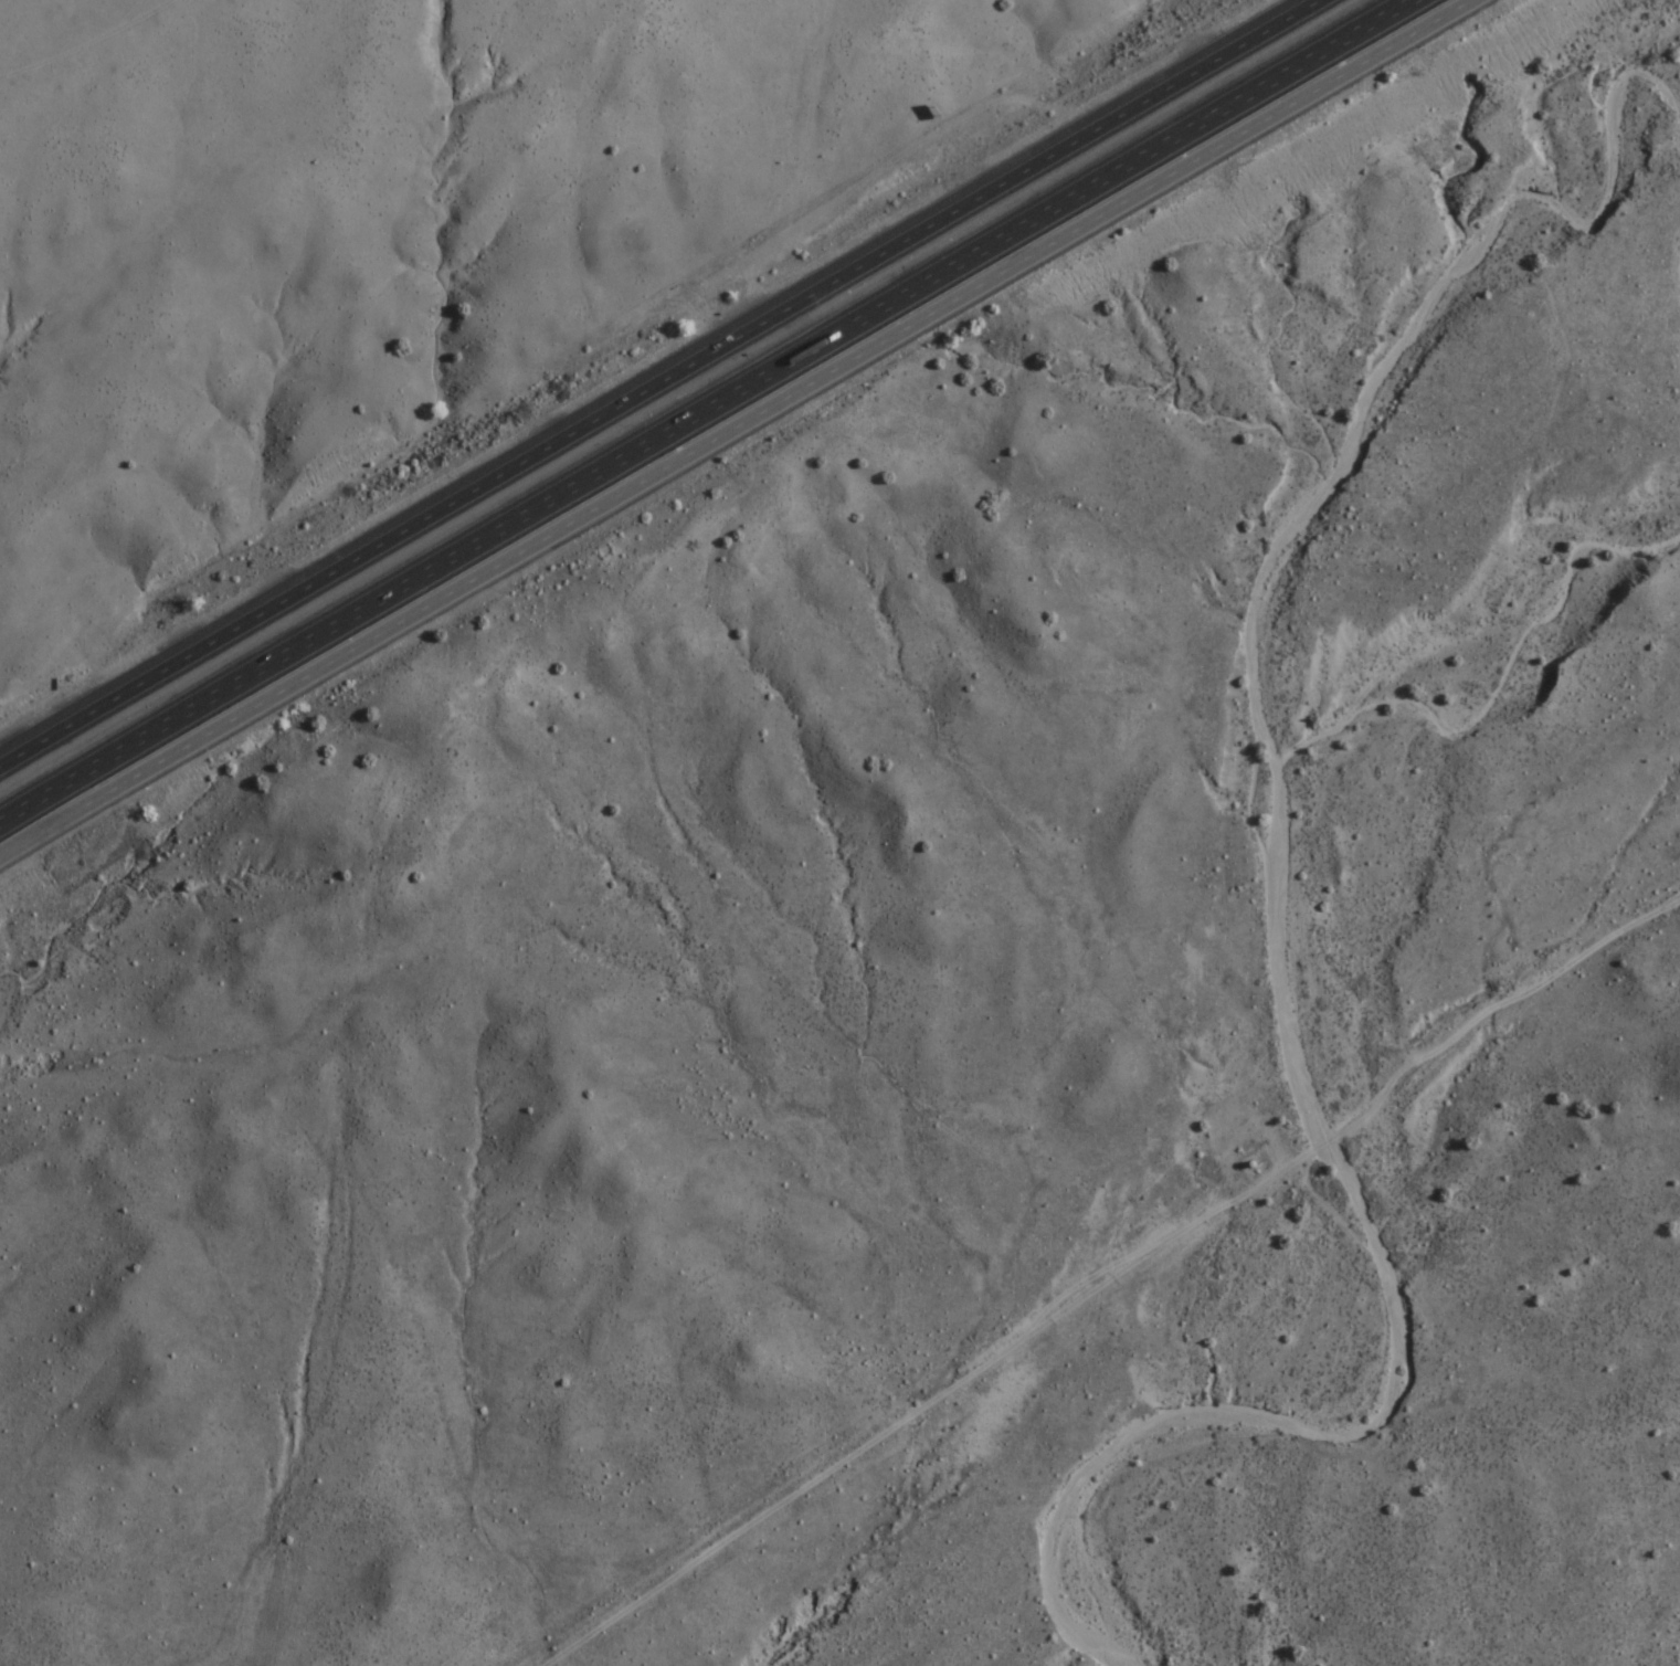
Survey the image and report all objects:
road: (665, 386)
road: (709, 416)
road: (736, 428)
building: (1250, 1162)
storage tank: (1250, 1162)

